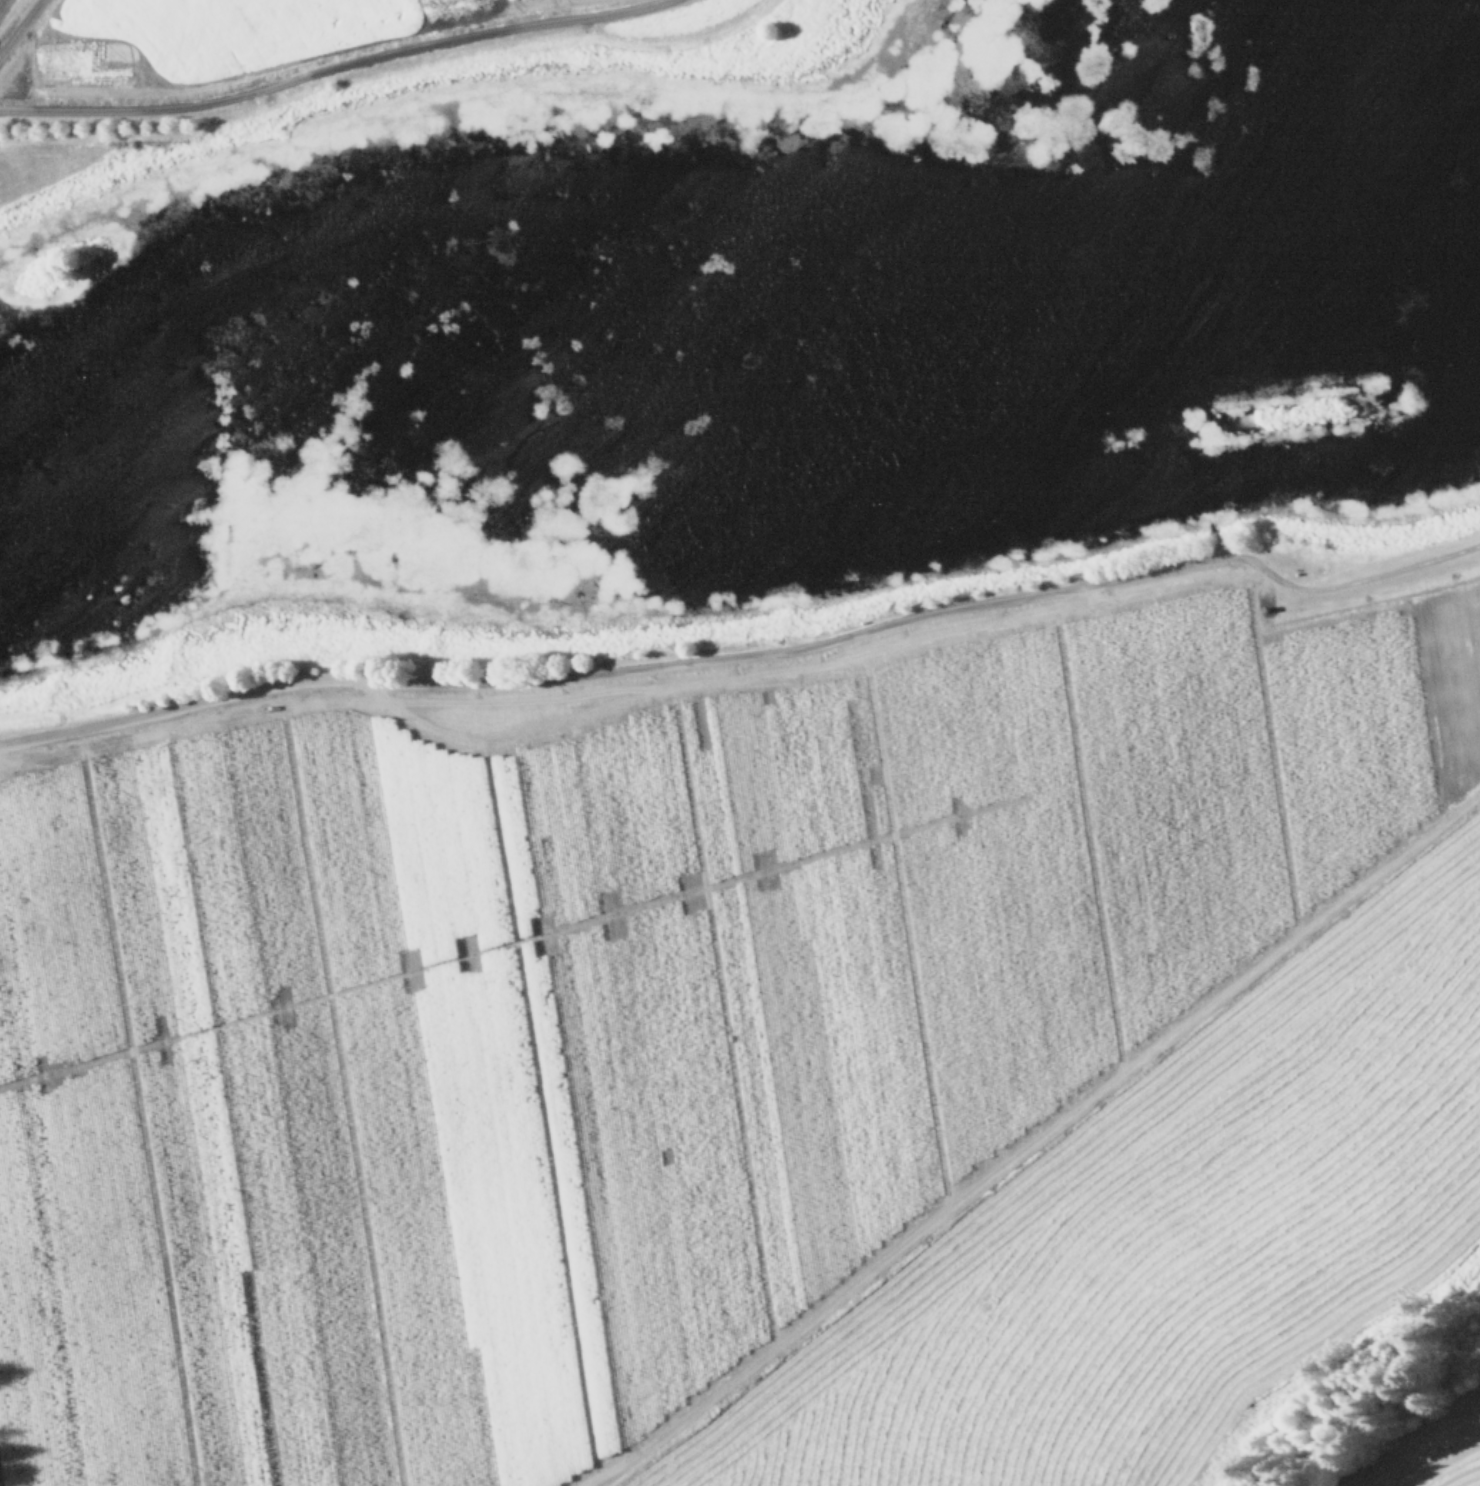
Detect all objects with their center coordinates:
road: (20, 28)
road: (326, 67)
crop: (740, 743)

